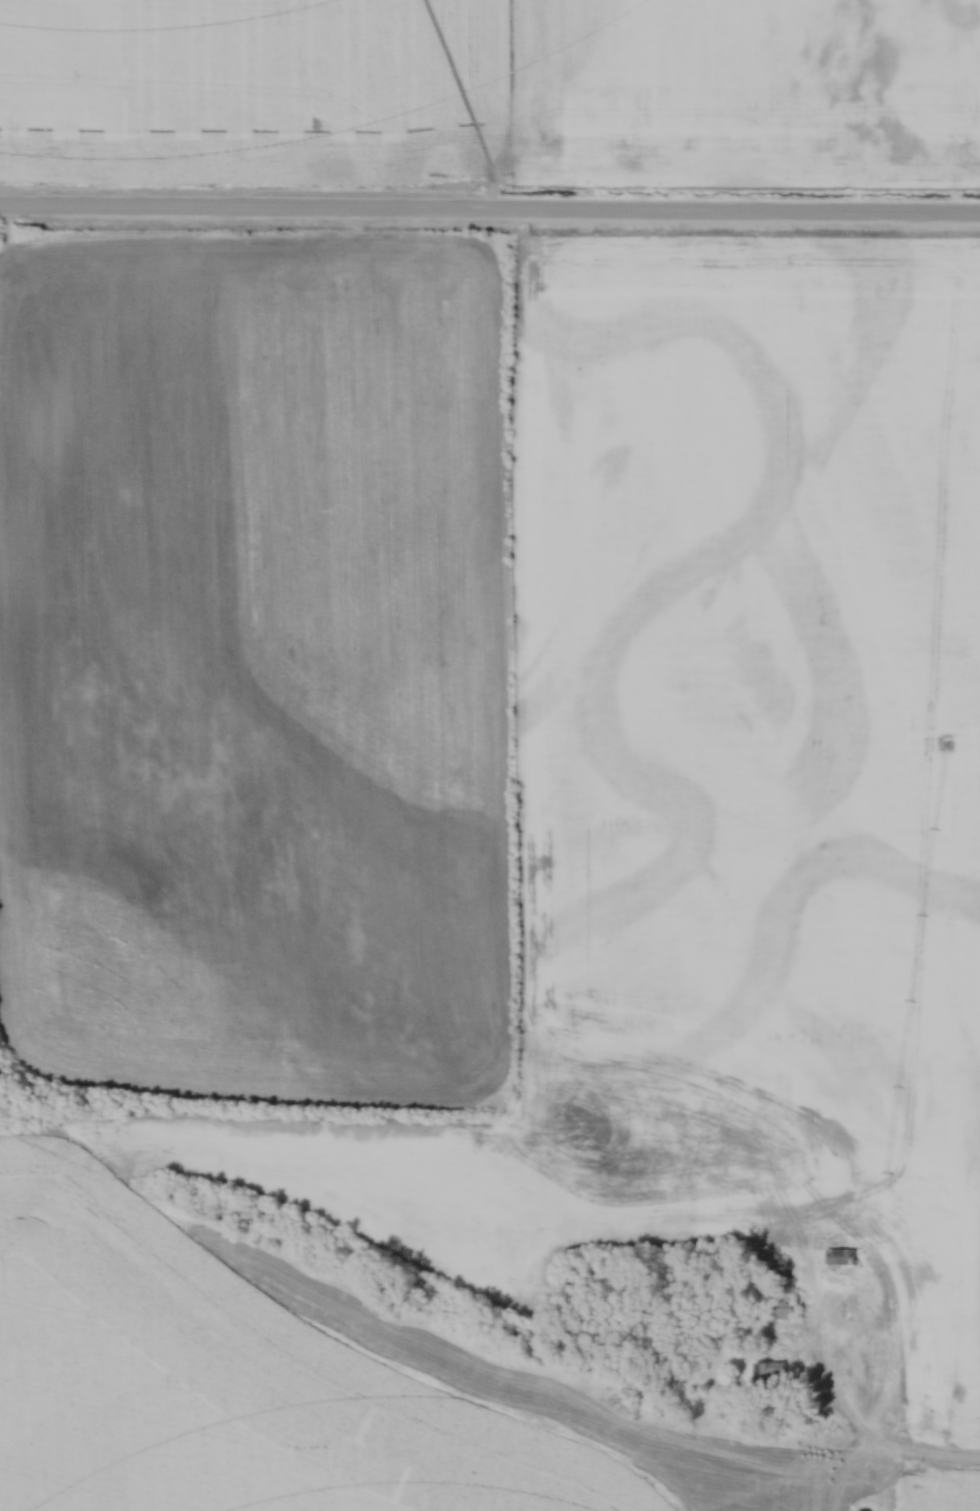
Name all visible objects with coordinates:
road: (489, 212)
building: (836, 1259)
building: (777, 1308)
building: (769, 1376)
road: (850, 1419)

